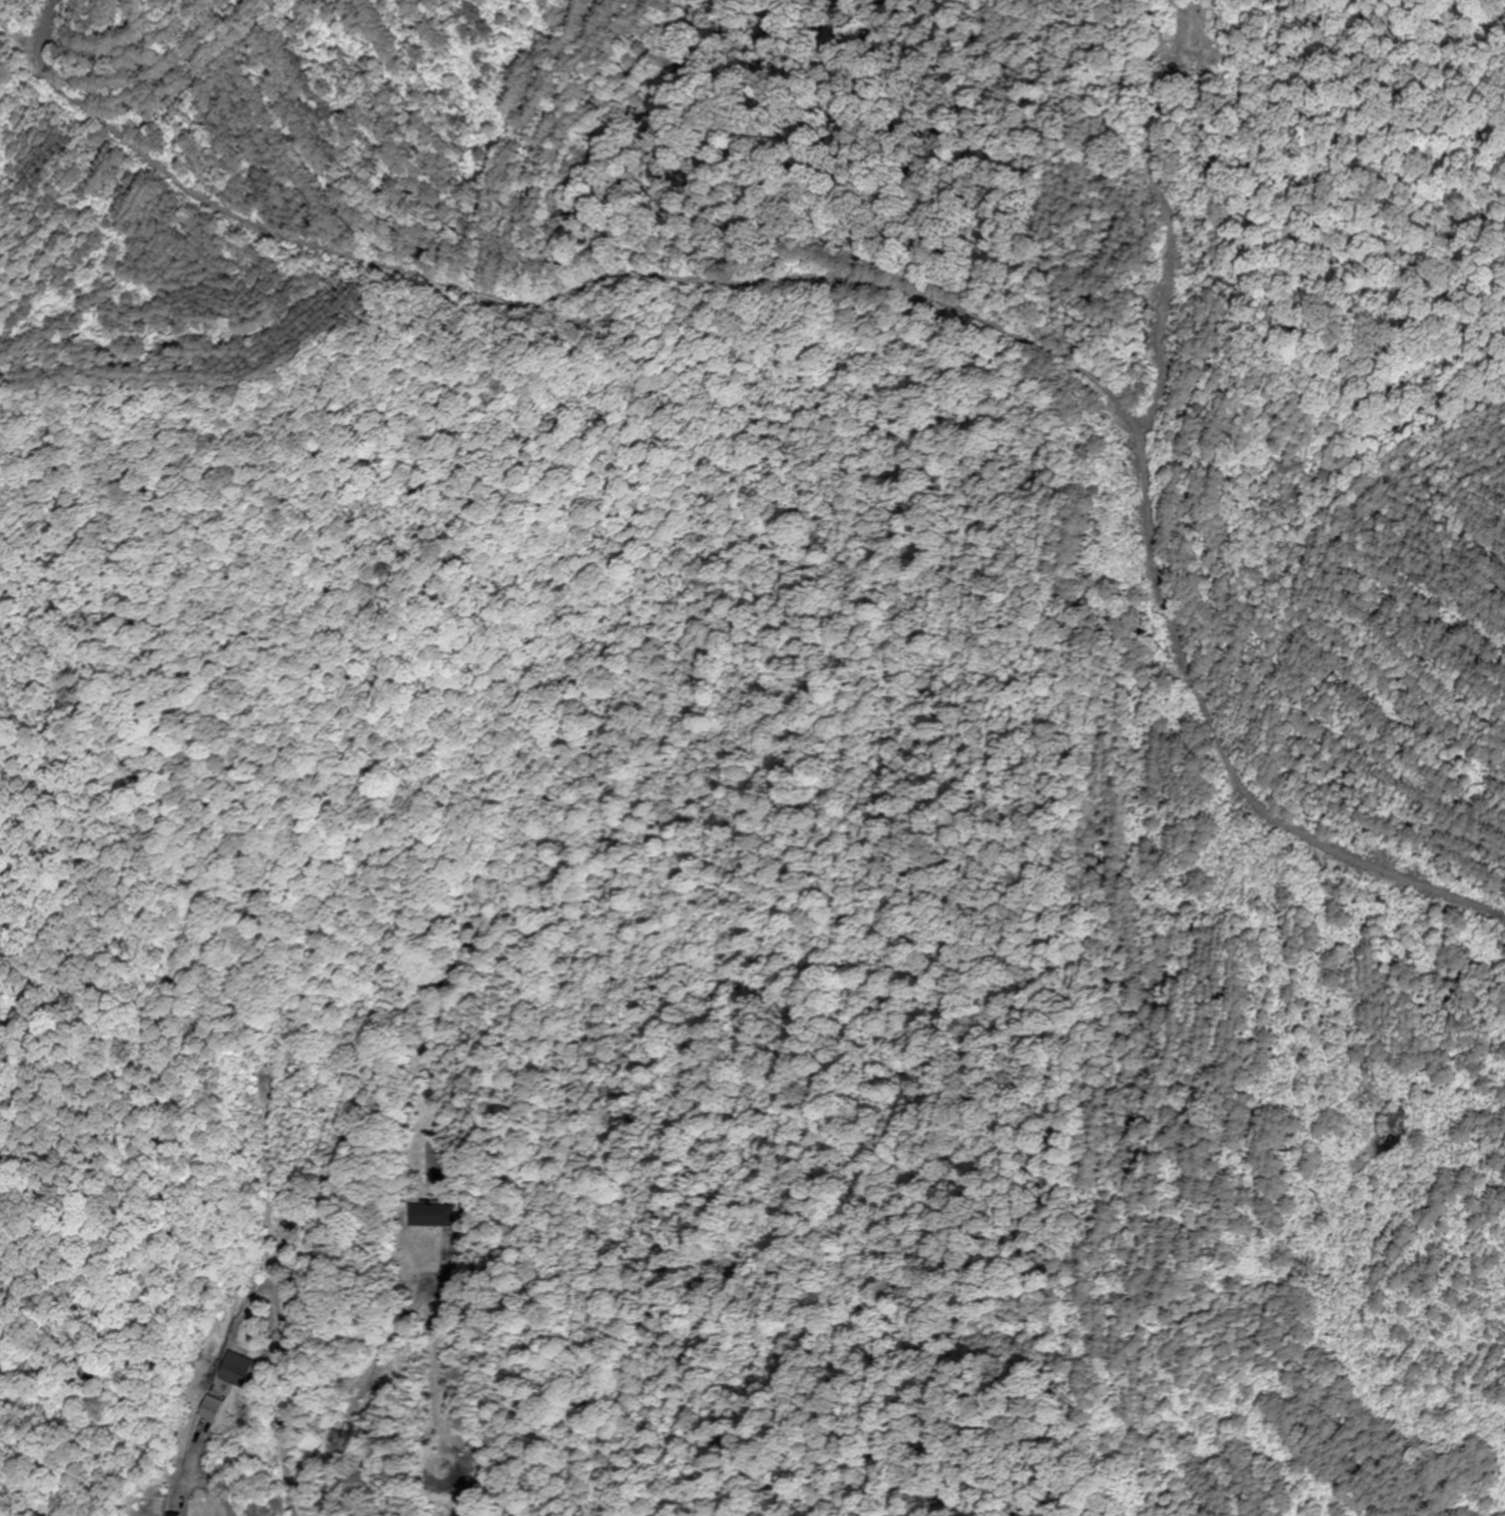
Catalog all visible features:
building: (430, 1216)
building: (238, 1371)
building: (212, 1408)
building: (174, 1515)

